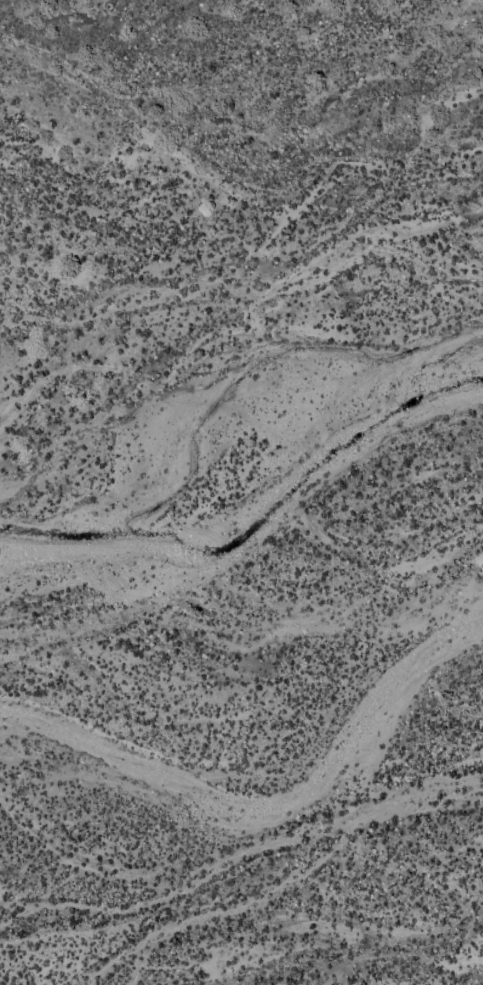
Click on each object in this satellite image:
river: (239, 425)

